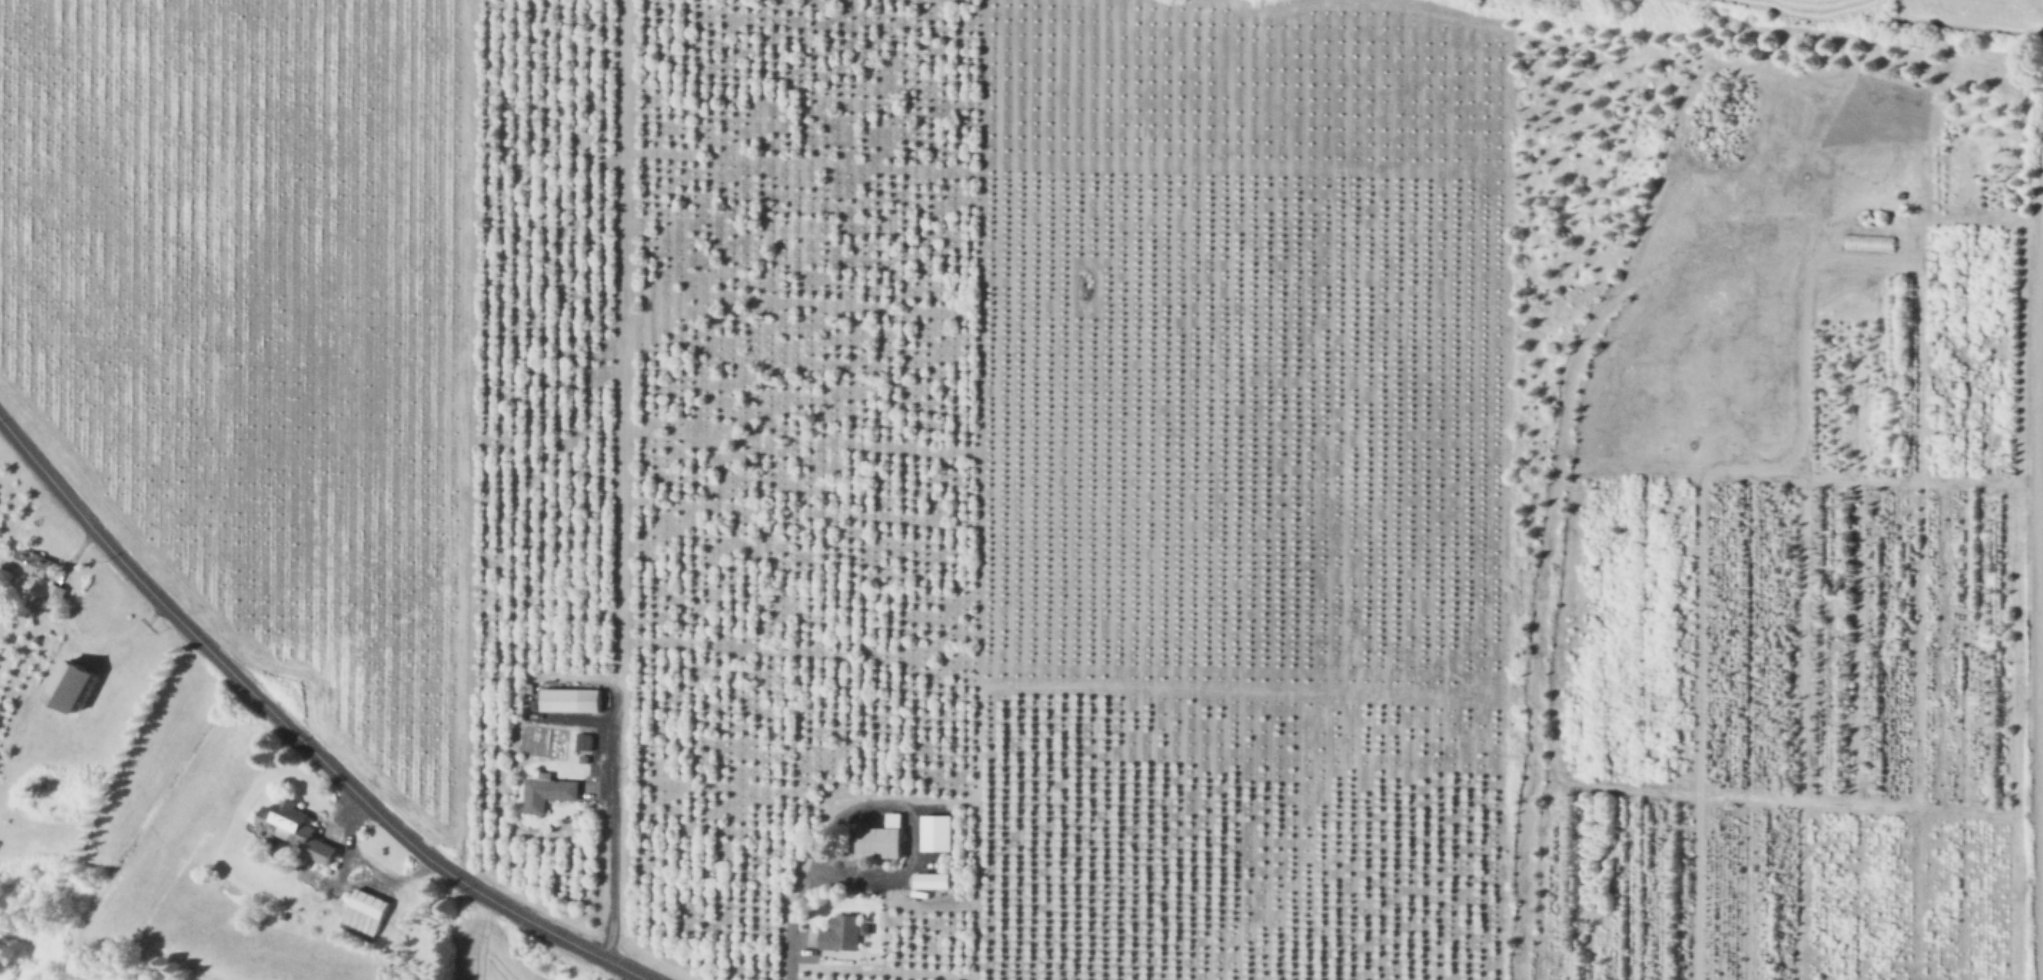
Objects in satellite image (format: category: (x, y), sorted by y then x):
crop: (1800, 4)
crop: (1791, 171)
crop: (1846, 269)
crop: (262, 335)
crop: (1708, 368)
building: (38, 563)
building: (58, 594)
building: (74, 685)
building: (573, 700)
road: (296, 734)
building: (587, 742)
building: (548, 791)
building: (896, 820)
building: (297, 829)
building: (940, 837)
road: (615, 839)
building: (882, 842)
building: (933, 879)
road: (799, 892)
building: (369, 912)
building: (843, 933)

